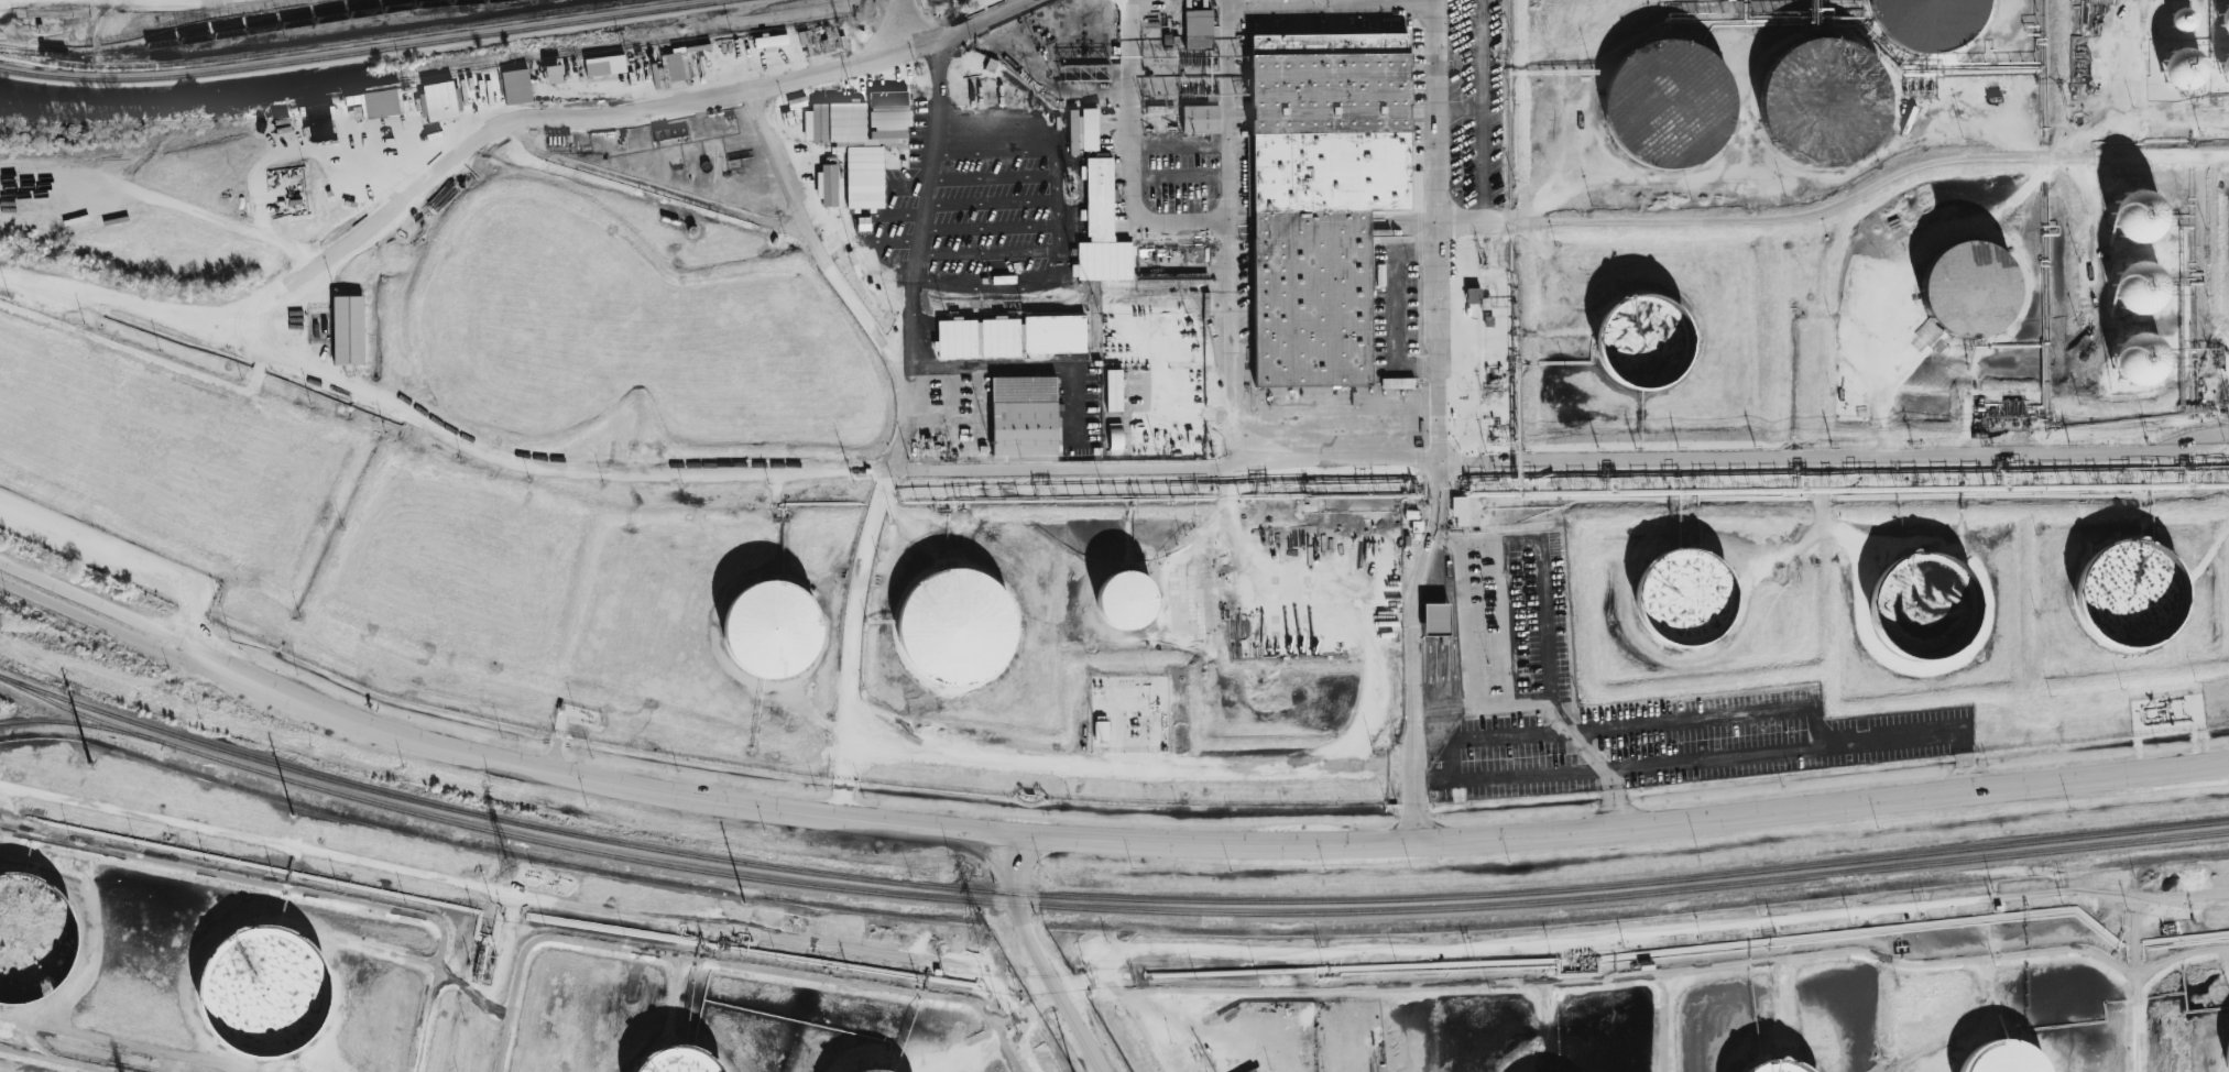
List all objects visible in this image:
road: (189, 0)
road: (1333, 6)
building: (2177, 13)
storage tank: (2177, 13)
building: (2222, 14)
storage tank: (2222, 14)
railway: (325, 18)
building: (1935, 24)
storage tank: (1935, 24)
building: (1199, 31)
railway: (189, 39)
railway: (320, 44)
railway: (367, 51)
building: (2222, 62)
storage tank: (2222, 62)
building: (2174, 63)
storage tank: (2174, 63)
building: (605, 66)
building: (675, 68)
building: (557, 76)
building: (516, 88)
building: (439, 102)
building: (1824, 102)
storage tank: (1824, 102)
building: (382, 103)
building: (1665, 106)
storage tank: (1665, 106)
road: (1483, 109)
building: (1199, 119)
building: (320, 122)
building: (1082, 130)
road: (492, 132)
road: (1182, 142)
road: (1134, 152)
road: (2146, 157)
road: (1788, 164)
building: (827, 185)
road: (648, 187)
road: (1876, 190)
building: (1097, 197)
building: (1324, 199)
road: (201, 215)
building: (2137, 216)
storage tank: (2137, 216)
road: (1061, 230)
road: (1234, 261)
road: (2048, 285)
building: (2135, 288)
storage tank: (2135, 288)
building: (1970, 289)
storage tank: (1970, 289)
road: (862, 307)
building: (348, 329)
building: (1053, 335)
building: (999, 337)
building: (957, 338)
building: (1646, 341)
storage tank: (1646, 341)
road: (2023, 349)
building: (2137, 359)
storage tank: (2137, 359)
building: (1397, 383)
building: (1113, 390)
road: (1890, 390)
road: (915, 406)
building: (1024, 418)
road: (1441, 426)
building: (1115, 438)
road: (1188, 470)
building: (1460, 510)
road: (1826, 514)
road: (1216, 528)
road: (1788, 554)
road: (2217, 555)
road: (129, 558)
building: (2130, 592)
storage tank: (2130, 592)
building: (1684, 597)
storage tank: (1684, 597)
building: (1126, 600)
storage tank: (1126, 600)
road: (99, 604)
building: (1923, 604)
storage tank: (1923, 604)
road: (1347, 614)
road: (1466, 615)
building: (1434, 617)
road: (95, 621)
building: (955, 626)
storage tank: (955, 626)
building: (772, 630)
storage tank: (772, 630)
parking lot: (1620, 700)
road: (1709, 717)
railway: (81, 723)
building: (1101, 730)
road: (1812, 745)
power tower: (86, 761)
road: (1137, 766)
road: (1453, 776)
railway: (484, 829)
road: (1201, 844)
power tower: (512, 872)
railway: (1103, 897)
railway: (1609, 897)
road: (1657, 929)
road: (2133, 934)
power tower: (986, 938)
building: (33, 940)
storage tank: (33, 940)
road: (1037, 956)
road: (704, 959)
road: (1672, 971)
road: (1080, 987)
building: (266, 993)
storage tank: (266, 993)
road: (1028, 1015)
road: (1665, 1021)
road: (2135, 1022)
road: (1136, 1027)
road: (1007, 1051)
building: (2226, 1051)
building: (1999, 1057)
building: (685, 1063)
storage tank: (685, 1063)
building: (1772, 1065)
building: (1250, 1070)

